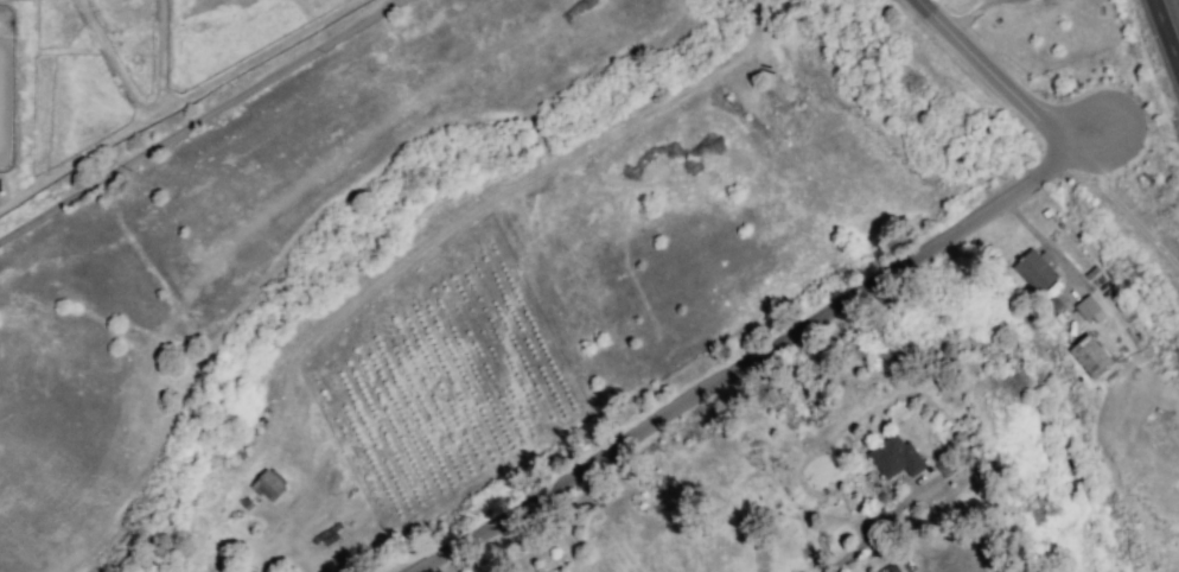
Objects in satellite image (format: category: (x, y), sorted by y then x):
road: (975, 15)
road: (1167, 30)
road: (1001, 84)
road: (138, 96)
road: (195, 115)
road: (514, 184)
road: (1122, 209)
building: (1034, 271)
building: (1051, 305)
building: (1088, 305)
road: (766, 351)
building: (1090, 355)
building: (893, 458)
building: (269, 485)
road: (872, 533)
building: (892, 571)

